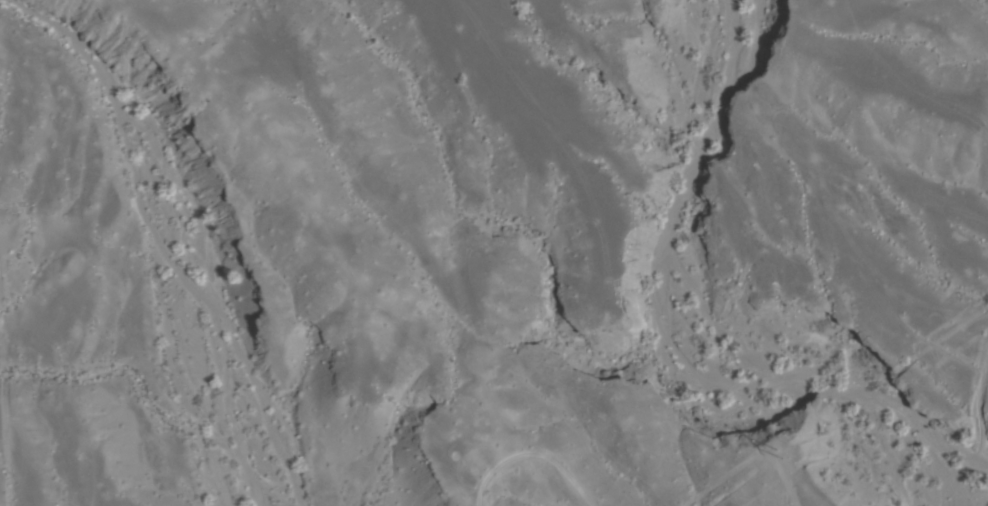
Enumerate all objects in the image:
power tower: (775, 452)

